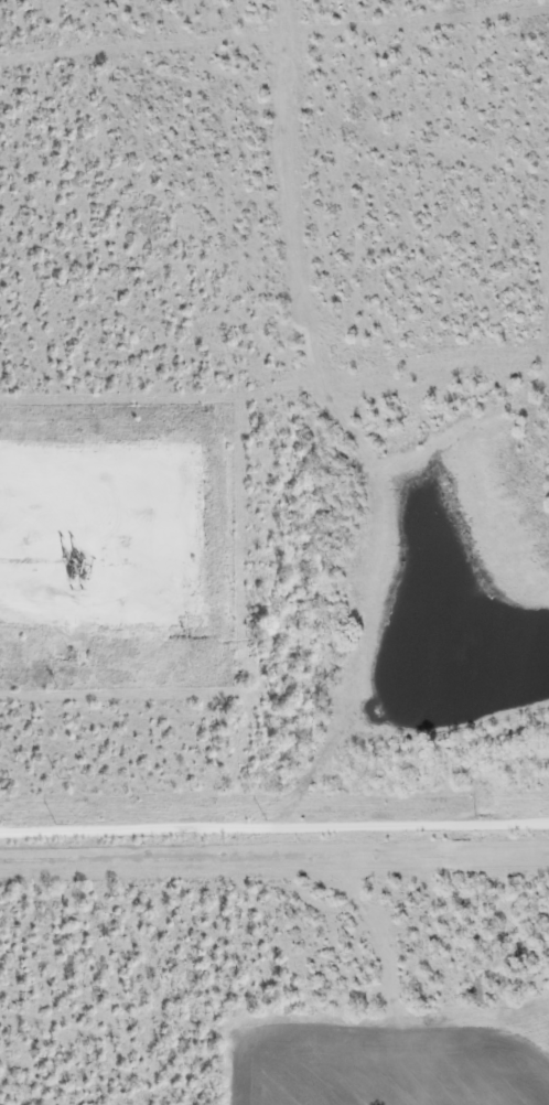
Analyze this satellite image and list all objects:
road: (274, 822)

